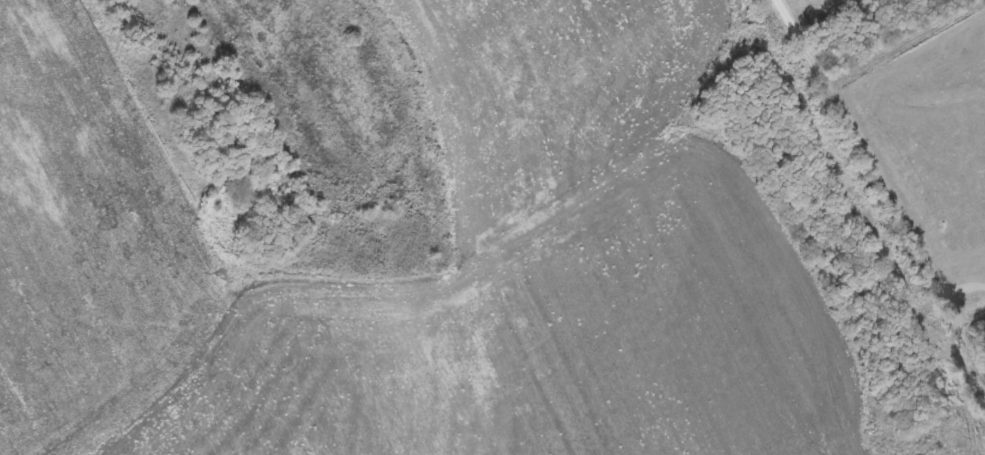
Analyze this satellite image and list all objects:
road: (883, 174)
road: (965, 279)
road: (972, 300)

